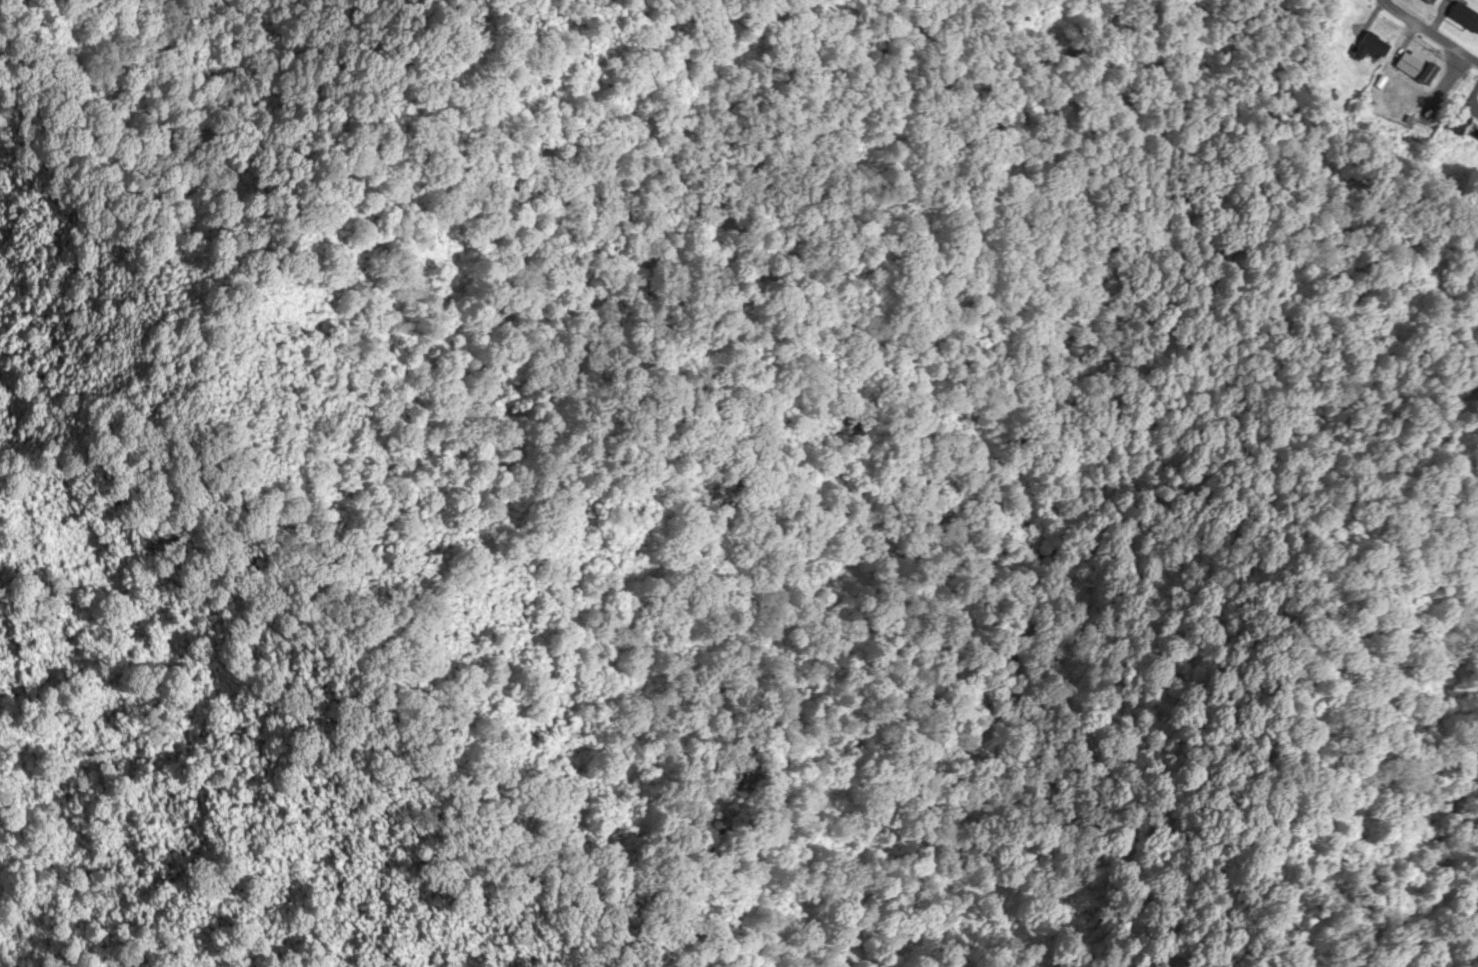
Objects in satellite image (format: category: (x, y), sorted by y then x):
building: (1422, 2)
building: (1460, 19)
road: (1427, 30)
building: (1367, 46)
building: (1409, 68)
building: (1453, 124)

